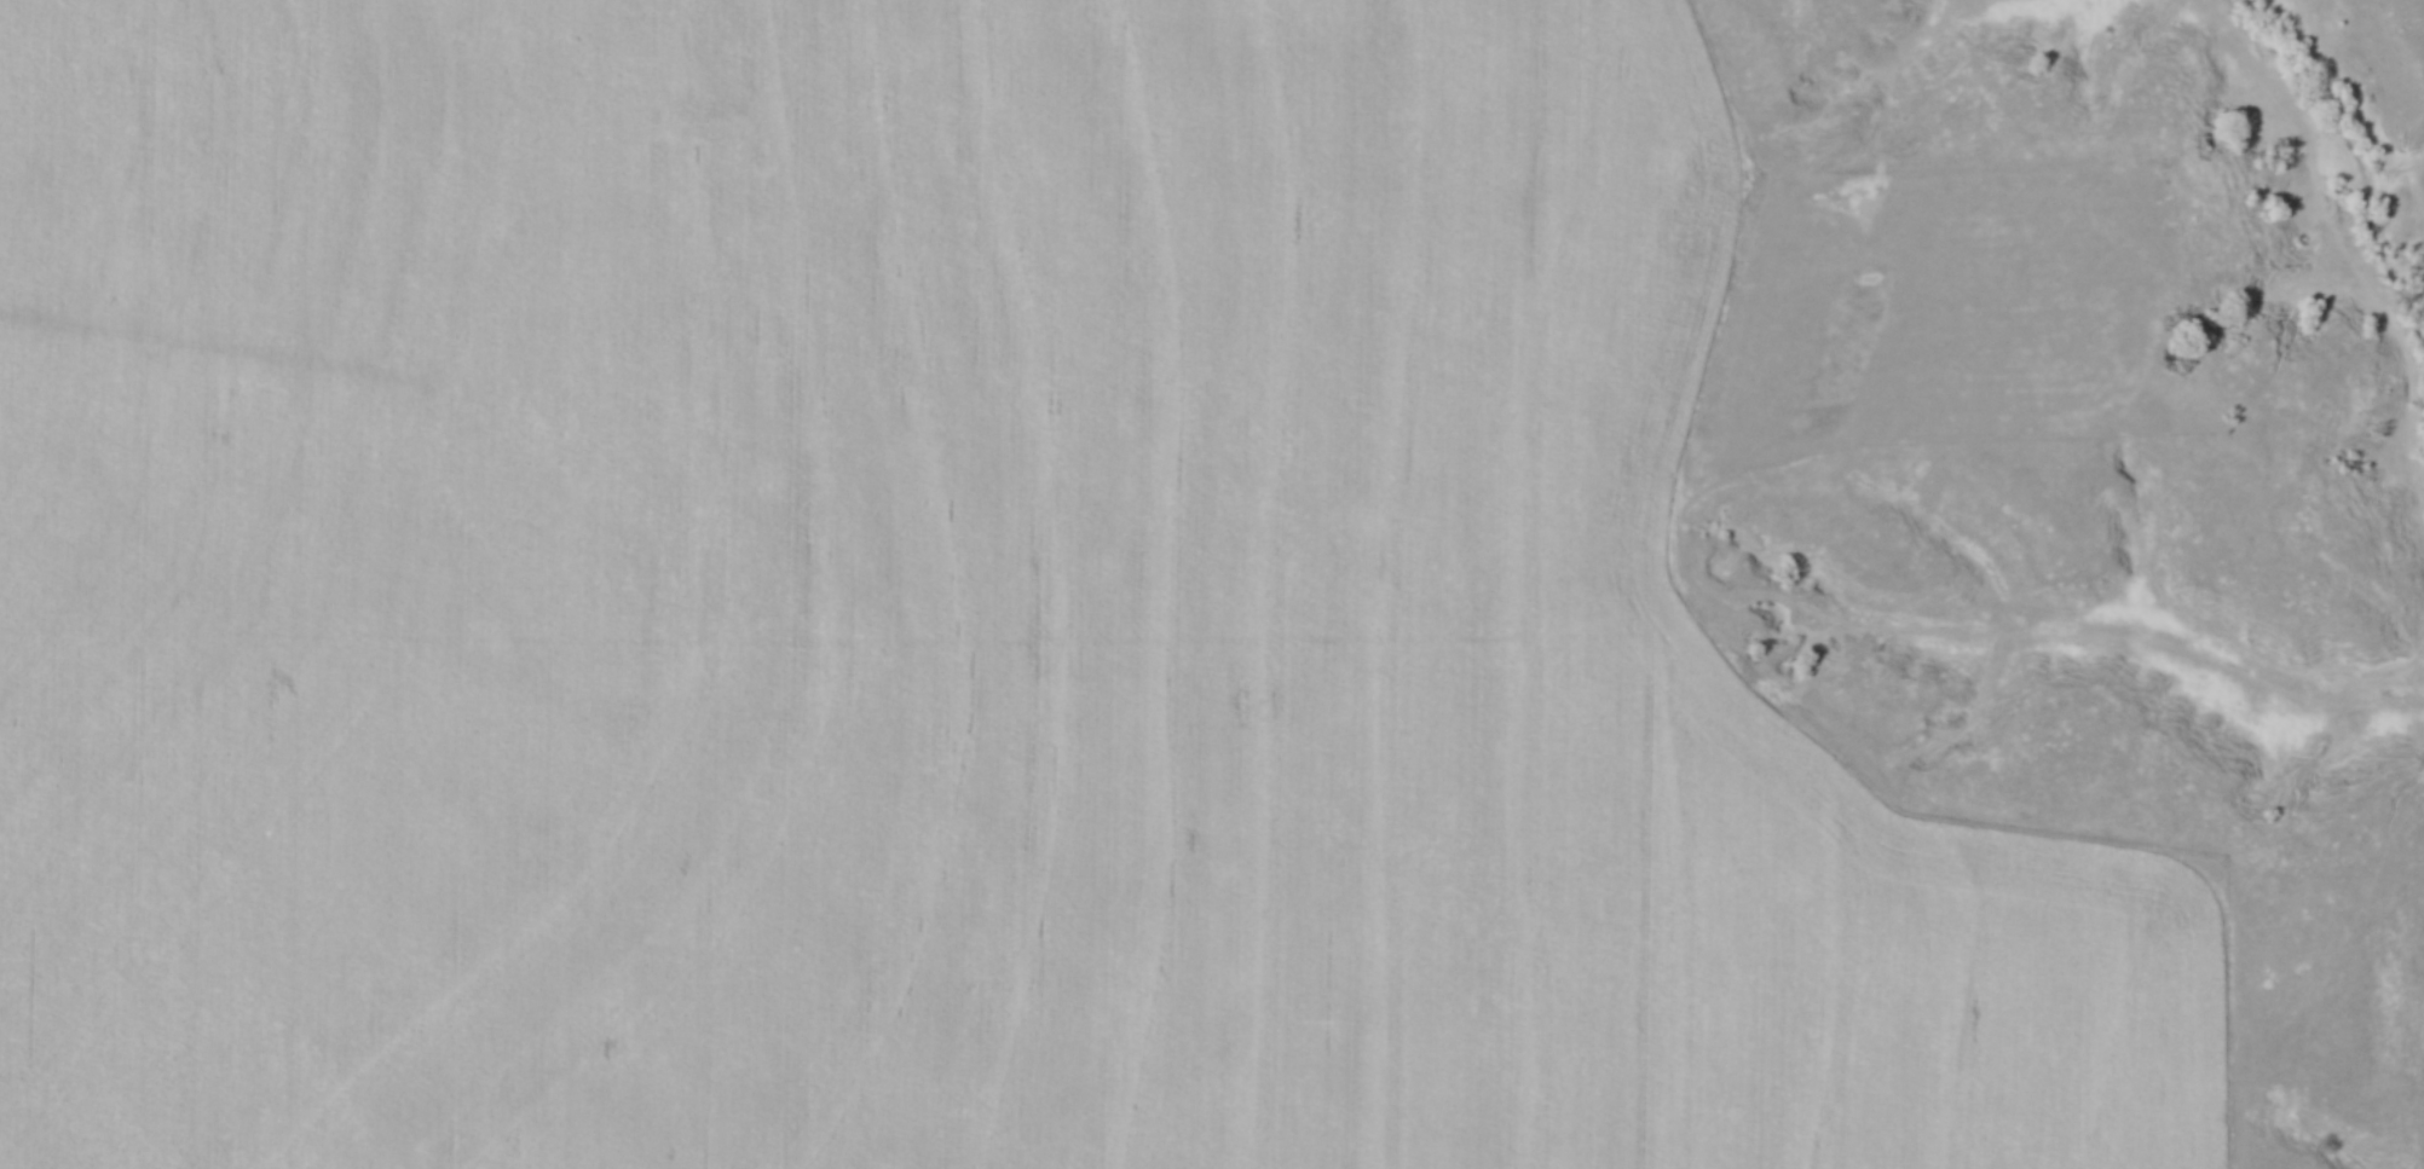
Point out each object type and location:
crop: (952, 619)

